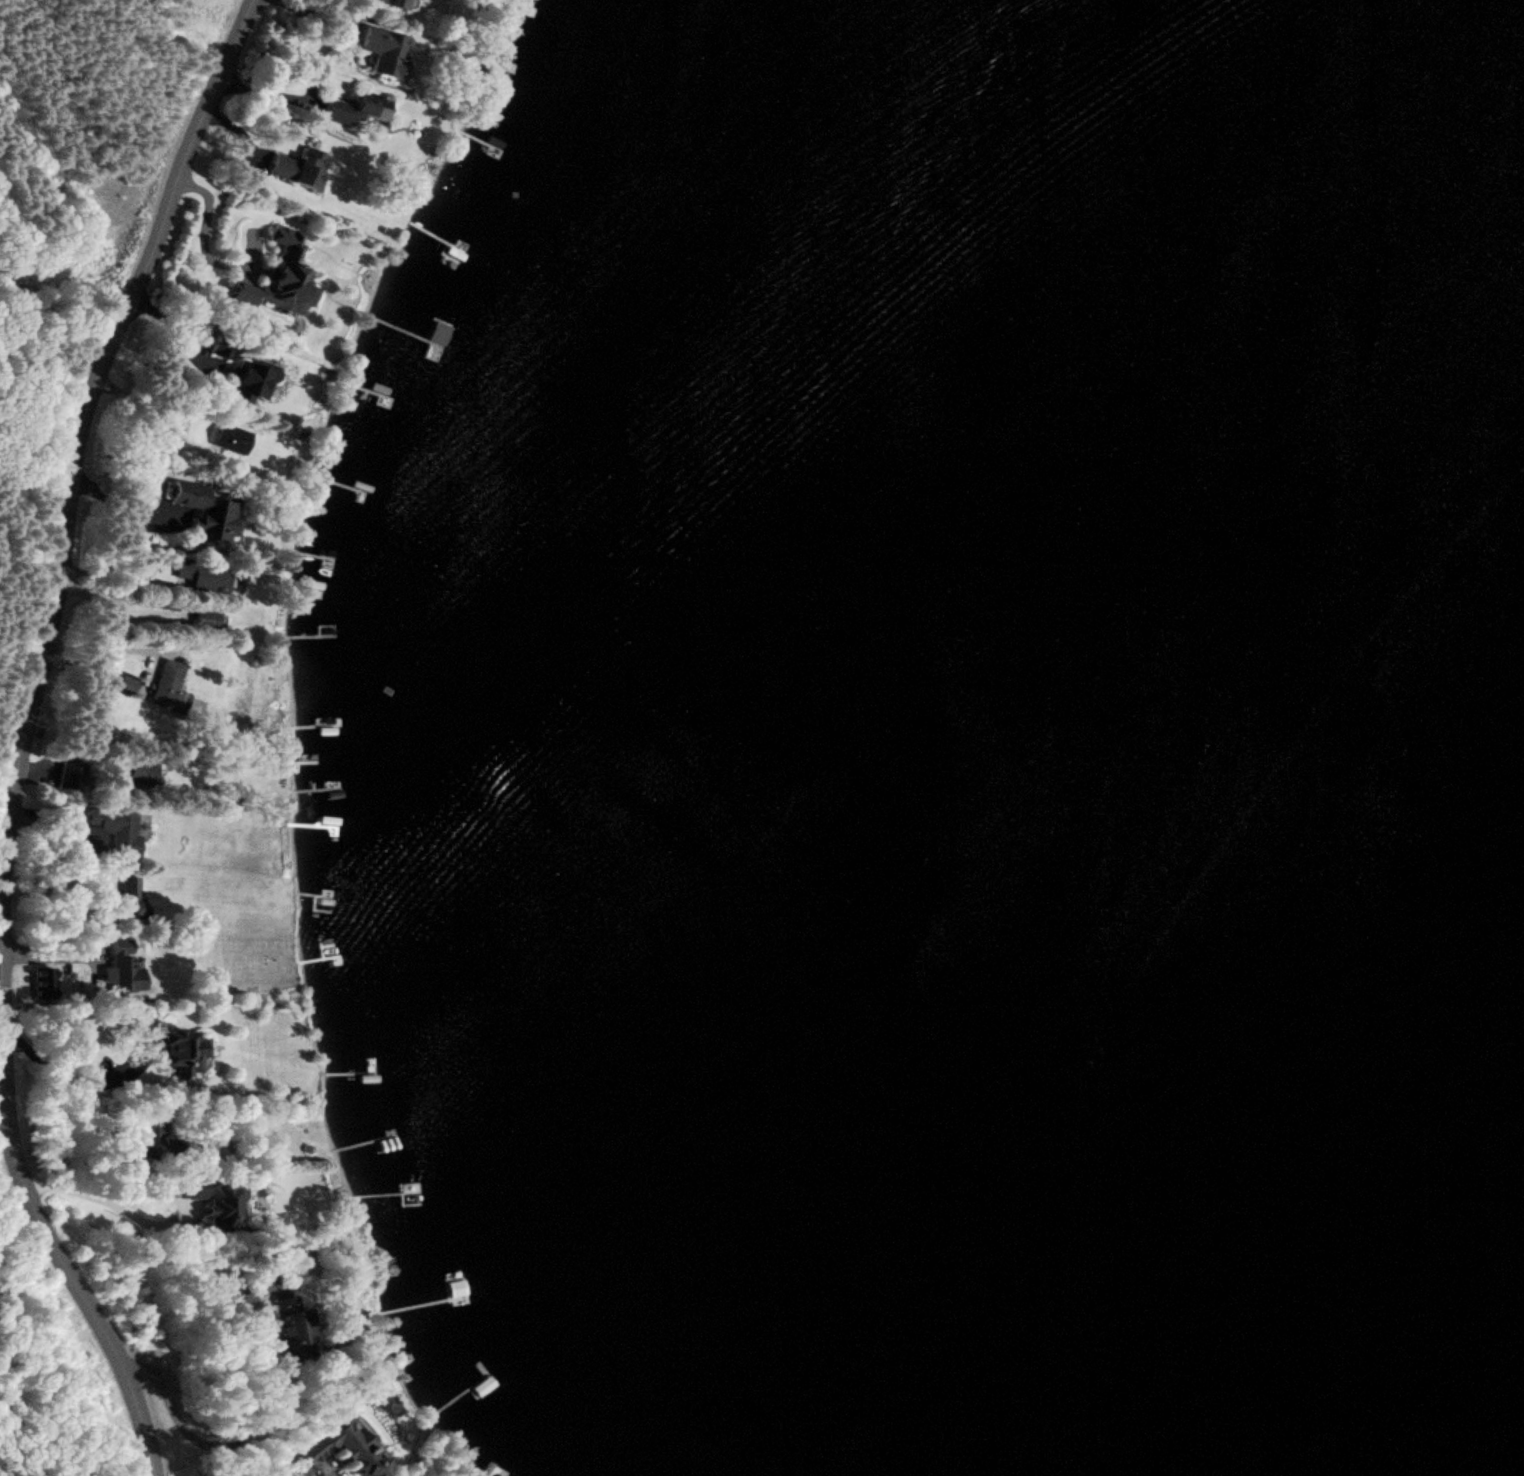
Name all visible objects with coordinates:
building: (411, 2)
building: (386, 50)
building: (357, 108)
building: (299, 168)
building: (231, 439)
building: (206, 512)
building: (205, 576)
building: (206, 620)
building: (127, 684)
building: (168, 686)
road: (22, 735)
building: (143, 771)
building: (70, 775)
building: (114, 828)
road: (4, 852)
building: (129, 897)
building: (125, 971)
building: (101, 1064)
building: (154, 1139)
building: (216, 1201)
building: (409, 1201)
building: (296, 1329)
building: (342, 1430)

